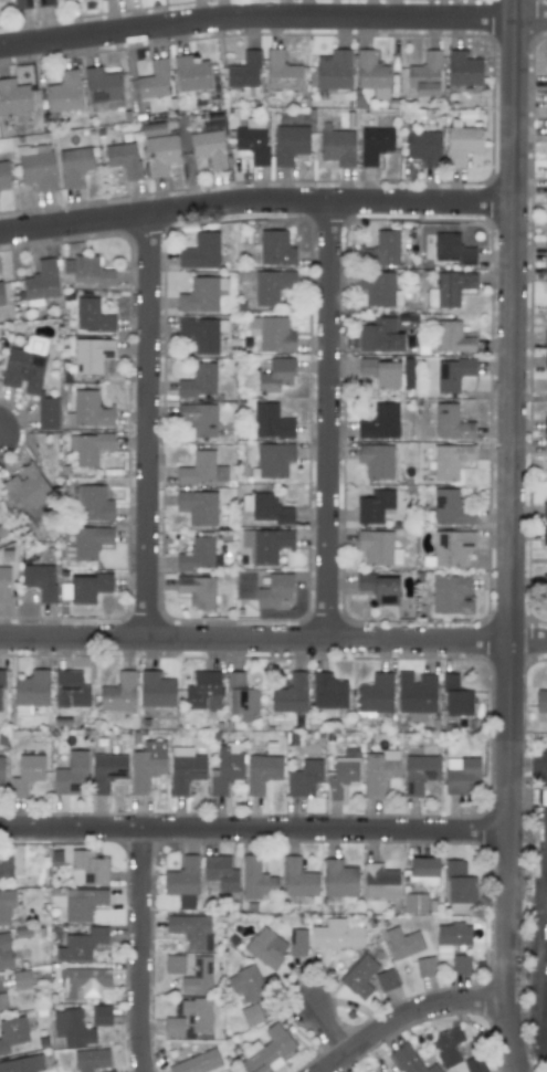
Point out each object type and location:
building: (44, 2)
building: (21, 4)
road: (272, 15)
building: (463, 69)
building: (334, 70)
building: (281, 73)
building: (191, 74)
building: (244, 74)
building: (371, 74)
building: (424, 75)
building: (154, 81)
building: (546, 82)
building: (103, 87)
building: (546, 87)
building: (64, 93)
building: (13, 96)
building: (154, 129)
building: (252, 140)
building: (291, 144)
building: (461, 144)
building: (375, 145)
building: (209, 147)
building: (337, 147)
building: (423, 147)
building: (160, 154)
building: (124, 159)
building: (74, 165)
building: (546, 166)
building: (36, 167)
building: (3, 175)
building: (546, 189)
road: (254, 202)
building: (275, 248)
building: (545, 248)
building: (452, 249)
building: (380, 250)
building: (200, 251)
building: (90, 271)
building: (545, 275)
building: (41, 283)
building: (271, 286)
building: (377, 287)
building: (449, 288)
building: (199, 295)
building: (92, 316)
building: (203, 334)
building: (273, 334)
building: (379, 335)
building: (452, 337)
building: (545, 338)
building: (92, 354)
road: (164, 359)
building: (545, 361)
building: (25, 366)
road: (509, 366)
building: (381, 372)
building: (452, 374)
building: (275, 375)
building: (199, 380)
building: (87, 411)
building: (46, 413)
building: (198, 418)
road: (327, 420)
building: (271, 421)
building: (380, 422)
building: (451, 422)
road: (146, 424)
building: (545, 425)
building: (88, 448)
building: (545, 448)
building: (274, 460)
building: (376, 460)
building: (450, 460)
building: (202, 470)
building: (25, 486)
building: (93, 504)
building: (198, 506)
building: (374, 506)
building: (265, 507)
building: (450, 508)
building: (545, 511)
building: (2, 533)
building: (90, 542)
building: (265, 544)
building: (451, 547)
building: (377, 548)
building: (199, 555)
building: (40, 580)
building: (544, 584)
building: (4, 585)
building: (88, 587)
building: (380, 588)
building: (197, 590)
building: (274, 590)
building: (451, 595)
road: (273, 637)
building: (1, 681)
building: (71, 690)
building: (156, 690)
building: (203, 690)
building: (328, 691)
building: (415, 692)
building: (118, 693)
building: (291, 694)
building: (376, 694)
building: (241, 697)
building: (455, 697)
building: (541, 701)
road: (526, 764)
building: (147, 765)
building: (185, 769)
building: (225, 769)
building: (106, 771)
building: (261, 771)
building: (379, 771)
building: (420, 773)
building: (27, 774)
building: (71, 774)
building: (460, 774)
building: (1, 775)
building: (341, 776)
building: (304, 778)
road: (252, 830)
building: (6, 864)
building: (423, 866)
building: (87, 868)
building: (220, 872)
building: (182, 877)
building: (255, 879)
building: (297, 879)
building: (338, 879)
building: (380, 882)
building: (459, 885)
building: (414, 903)
road: (505, 903)
building: (83, 904)
building: (6, 905)
building: (191, 931)
building: (336, 935)
building: (453, 935)
building: (298, 942)
building: (402, 943)
building: (82, 944)
building: (266, 947)
road: (143, 950)
road: (541, 950)
building: (4, 952)
building: (173, 964)
building: (460, 964)
building: (425, 967)
building: (198, 976)
building: (359, 976)
building: (21, 978)
building: (385, 979)
building: (82, 980)
building: (248, 982)
building: (3, 1001)
building: (198, 1013)
building: (251, 1015)
building: (101, 1016)
road: (404, 1016)
building: (173, 1027)
building: (72, 1028)
building: (11, 1032)
road: (328, 1033)
building: (446, 1047)
building: (266, 1050)
building: (91, 1060)
building: (409, 1060)
building: (198, 1062)
building: (22, 1064)
building: (474, 1064)
building: (233, 1070)
building: (111, 1071)
building: (376, 1071)

